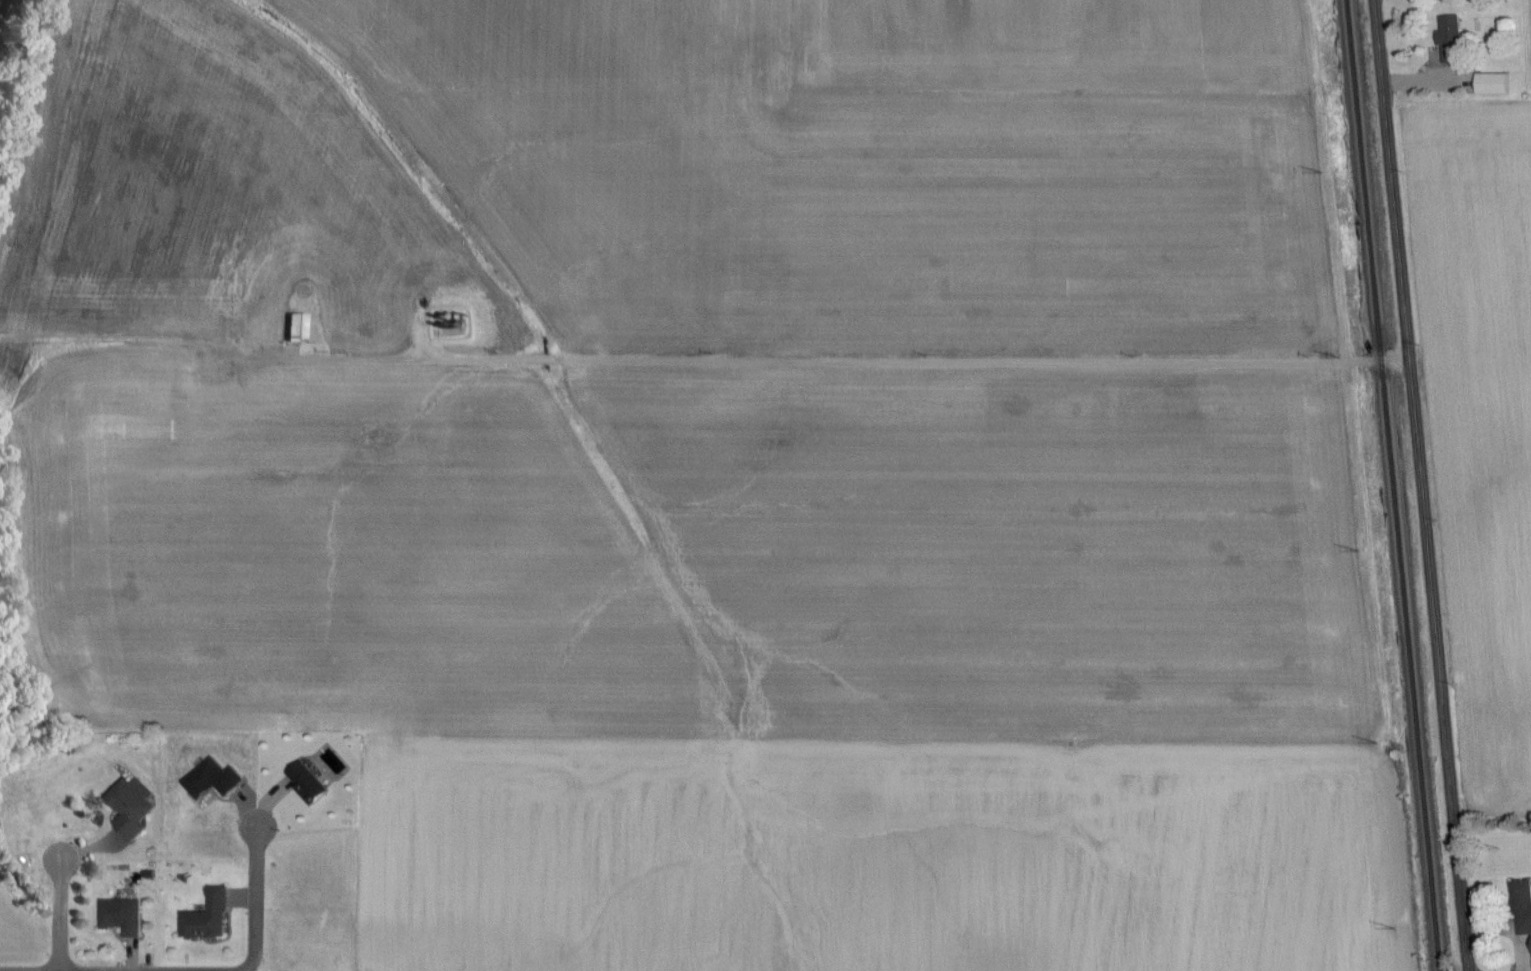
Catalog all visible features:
building: (1490, 85)
building: (300, 328)
road: (853, 360)
railway: (1392, 485)
road: (1423, 485)
airport runway: (721, 757)
building: (218, 780)
building: (309, 785)
building: (135, 808)
road: (255, 901)
road: (61, 915)
building: (124, 916)
building: (213, 916)

